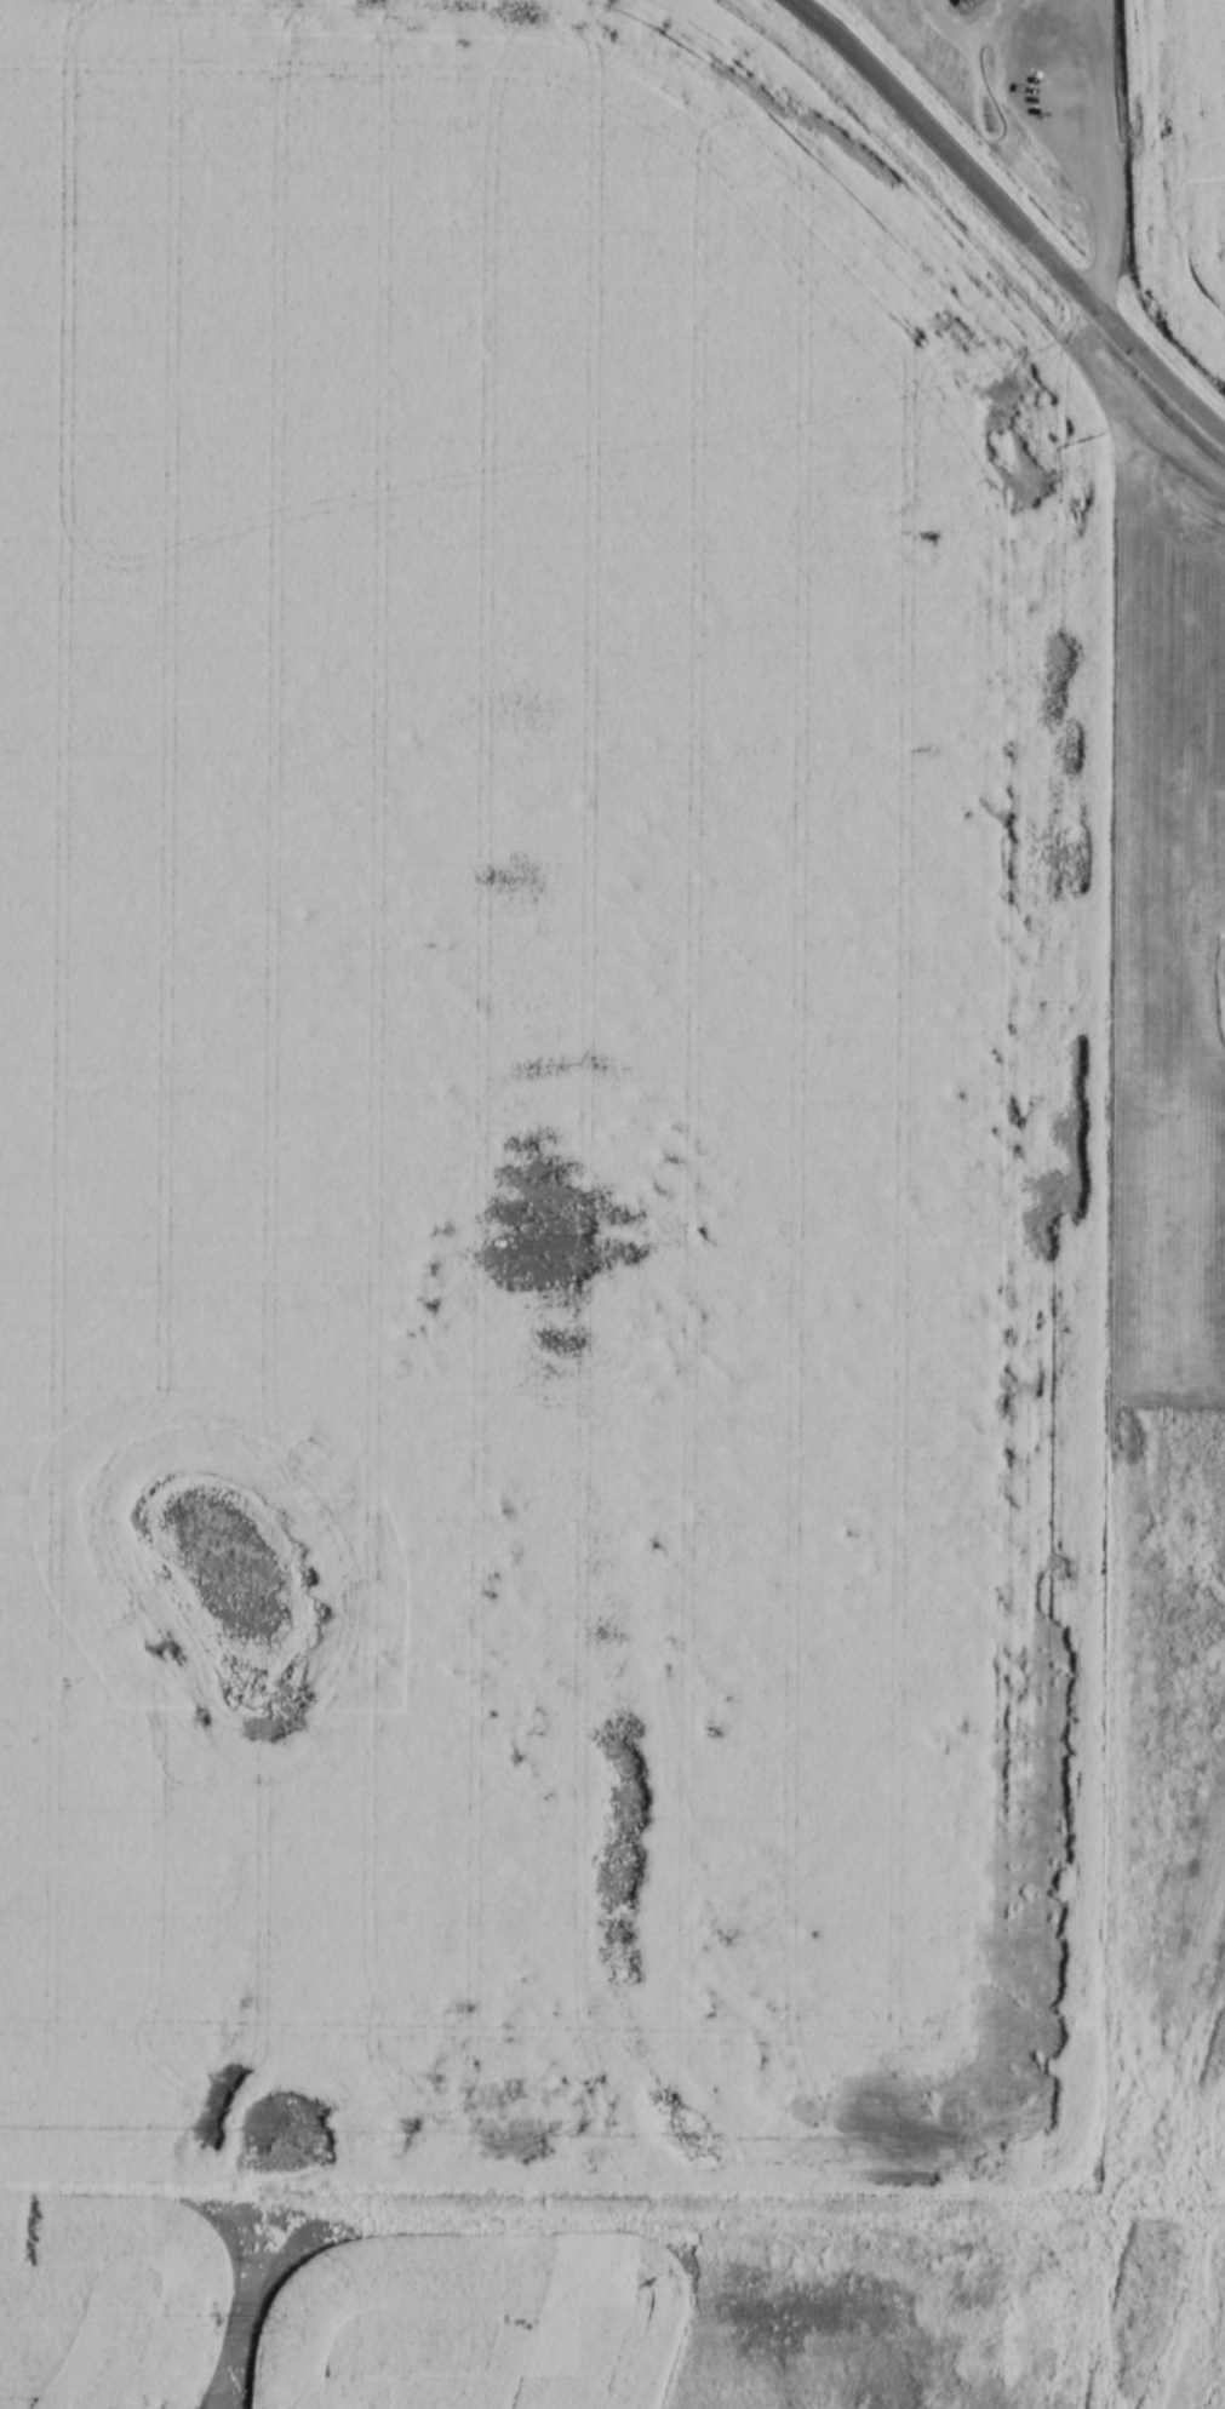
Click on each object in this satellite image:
crop: (1173, 162)
road: (1013, 210)

